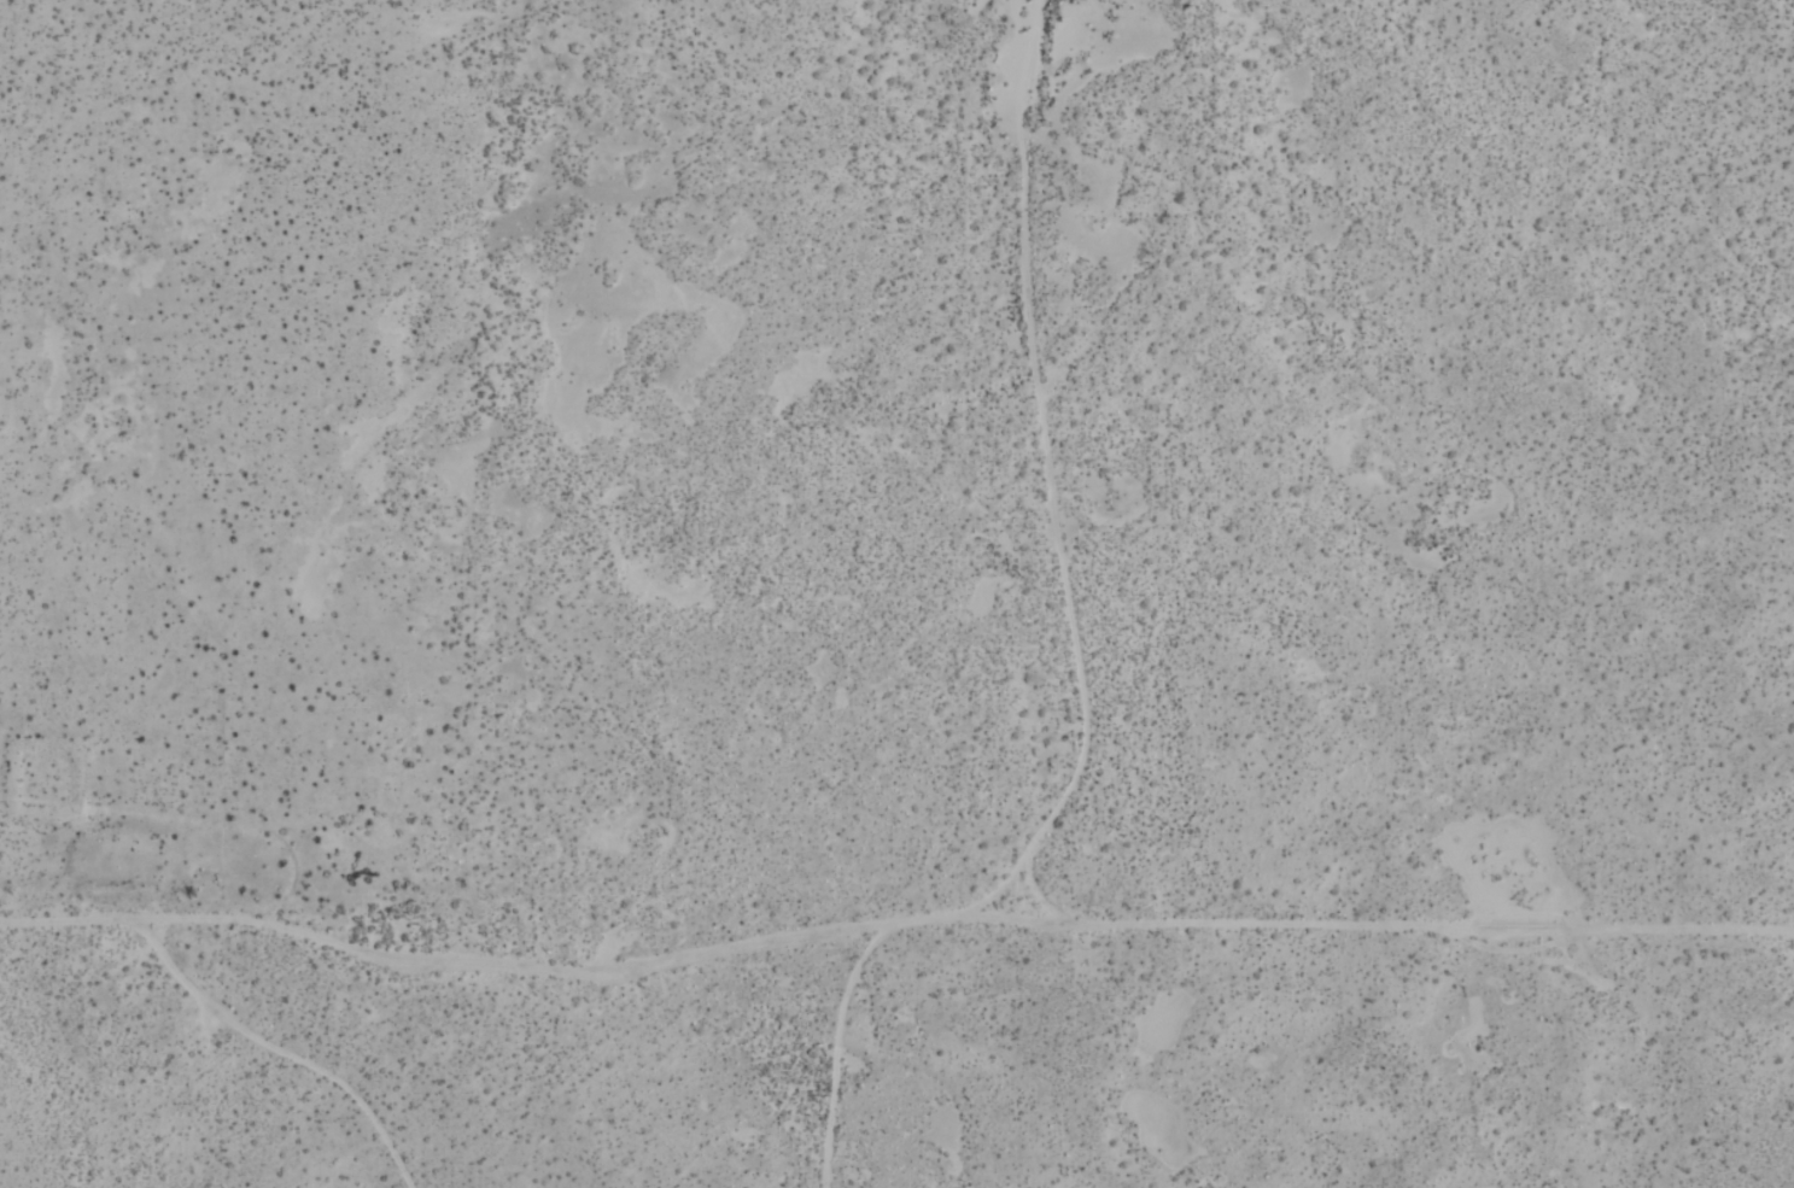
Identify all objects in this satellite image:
road: (1047, 468)
road: (66, 918)
road: (1361, 919)
road: (530, 966)
road: (276, 1049)

